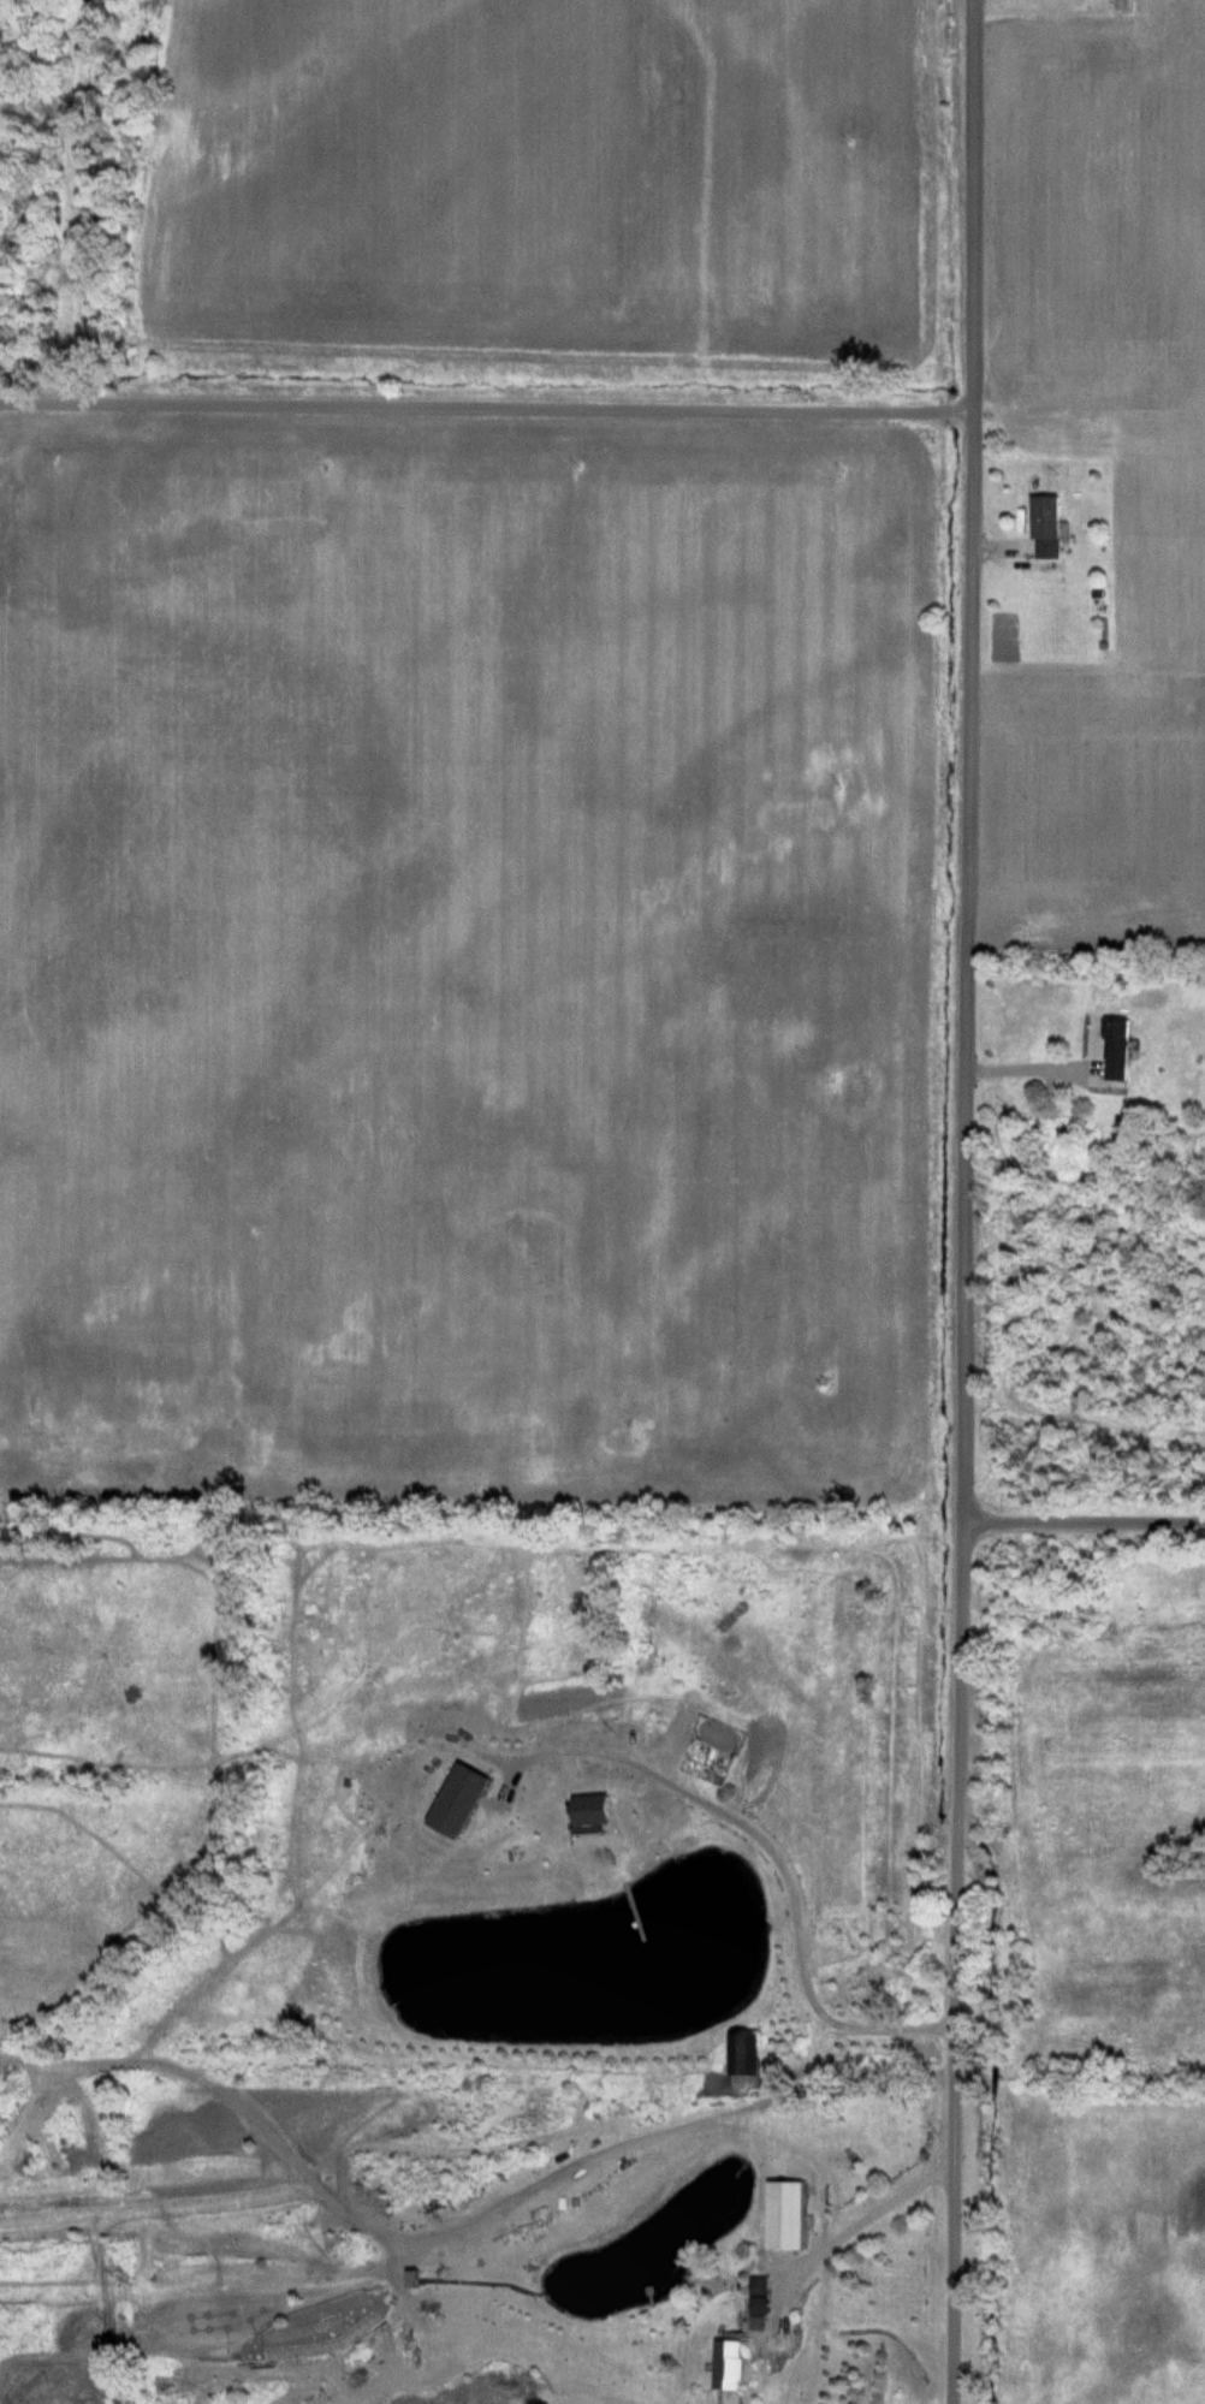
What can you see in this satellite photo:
road: (486, 406)
building: (1050, 528)
building: (1122, 1049)
road: (1038, 1078)
road: (962, 1201)
road: (1082, 1524)
building: (470, 1800)
road: (770, 1845)
building: (756, 2055)
building: (791, 2216)
road: (844, 2234)
building: (736, 2366)

